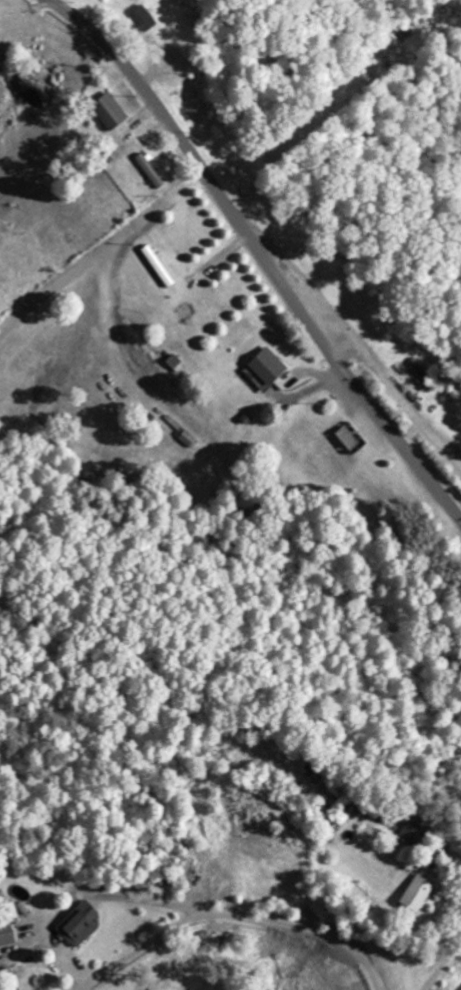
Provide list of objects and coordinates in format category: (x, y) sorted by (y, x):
building: (141, 17)
building: (108, 109)
road: (261, 253)
building: (173, 362)
building: (265, 365)
building: (184, 436)
building: (403, 834)
building: (410, 893)
building: (9, 911)
building: (77, 924)
building: (5, 935)

